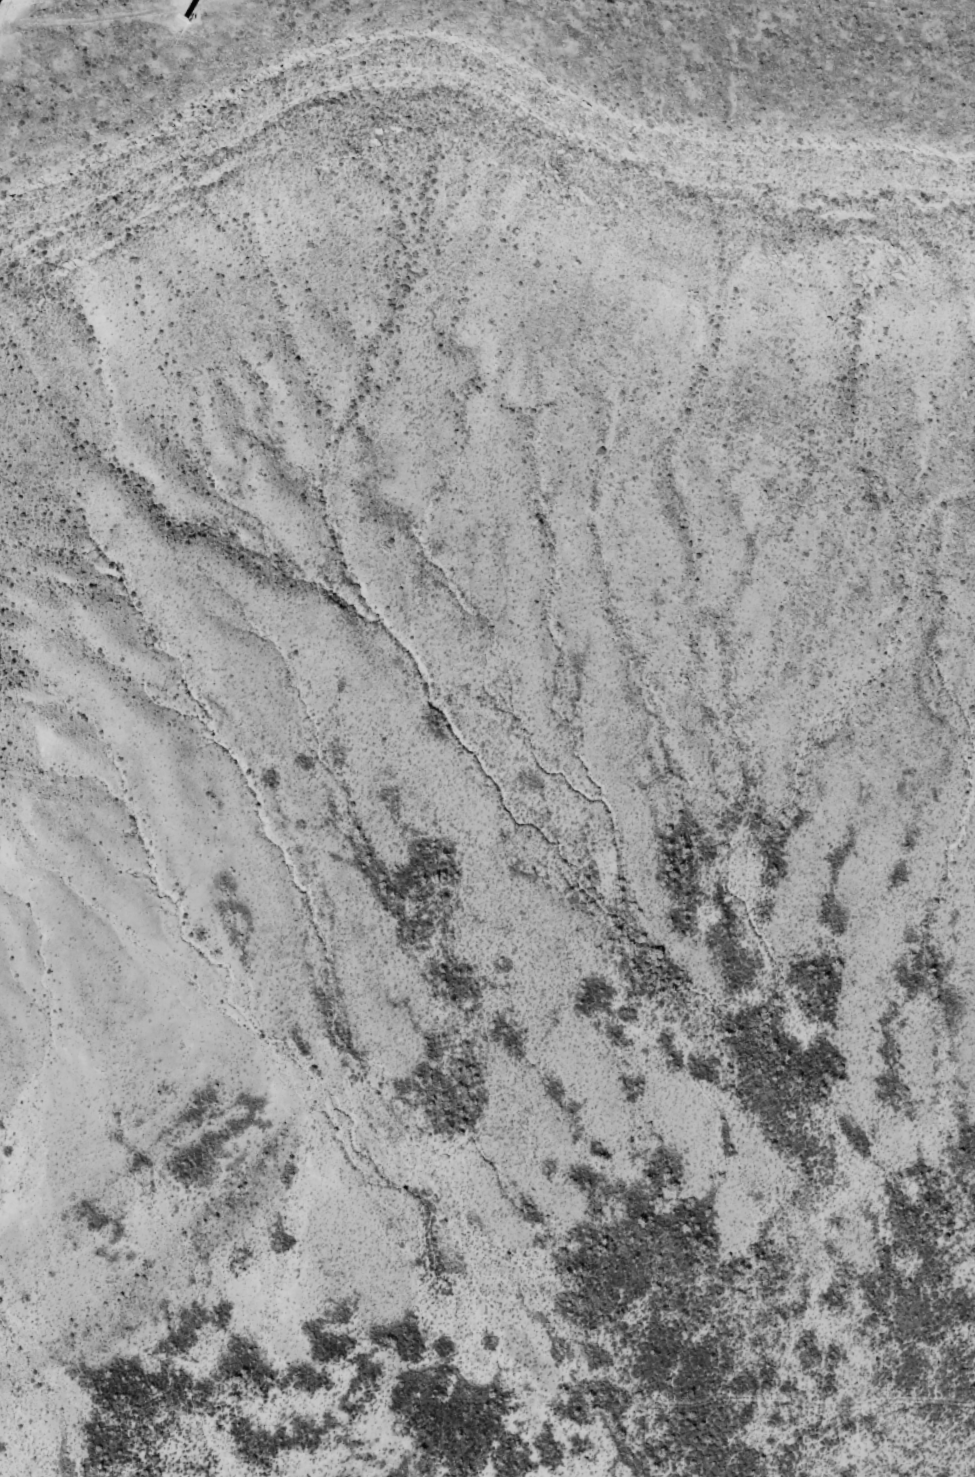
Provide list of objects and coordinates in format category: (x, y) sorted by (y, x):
wind turbine: (183, 19)

